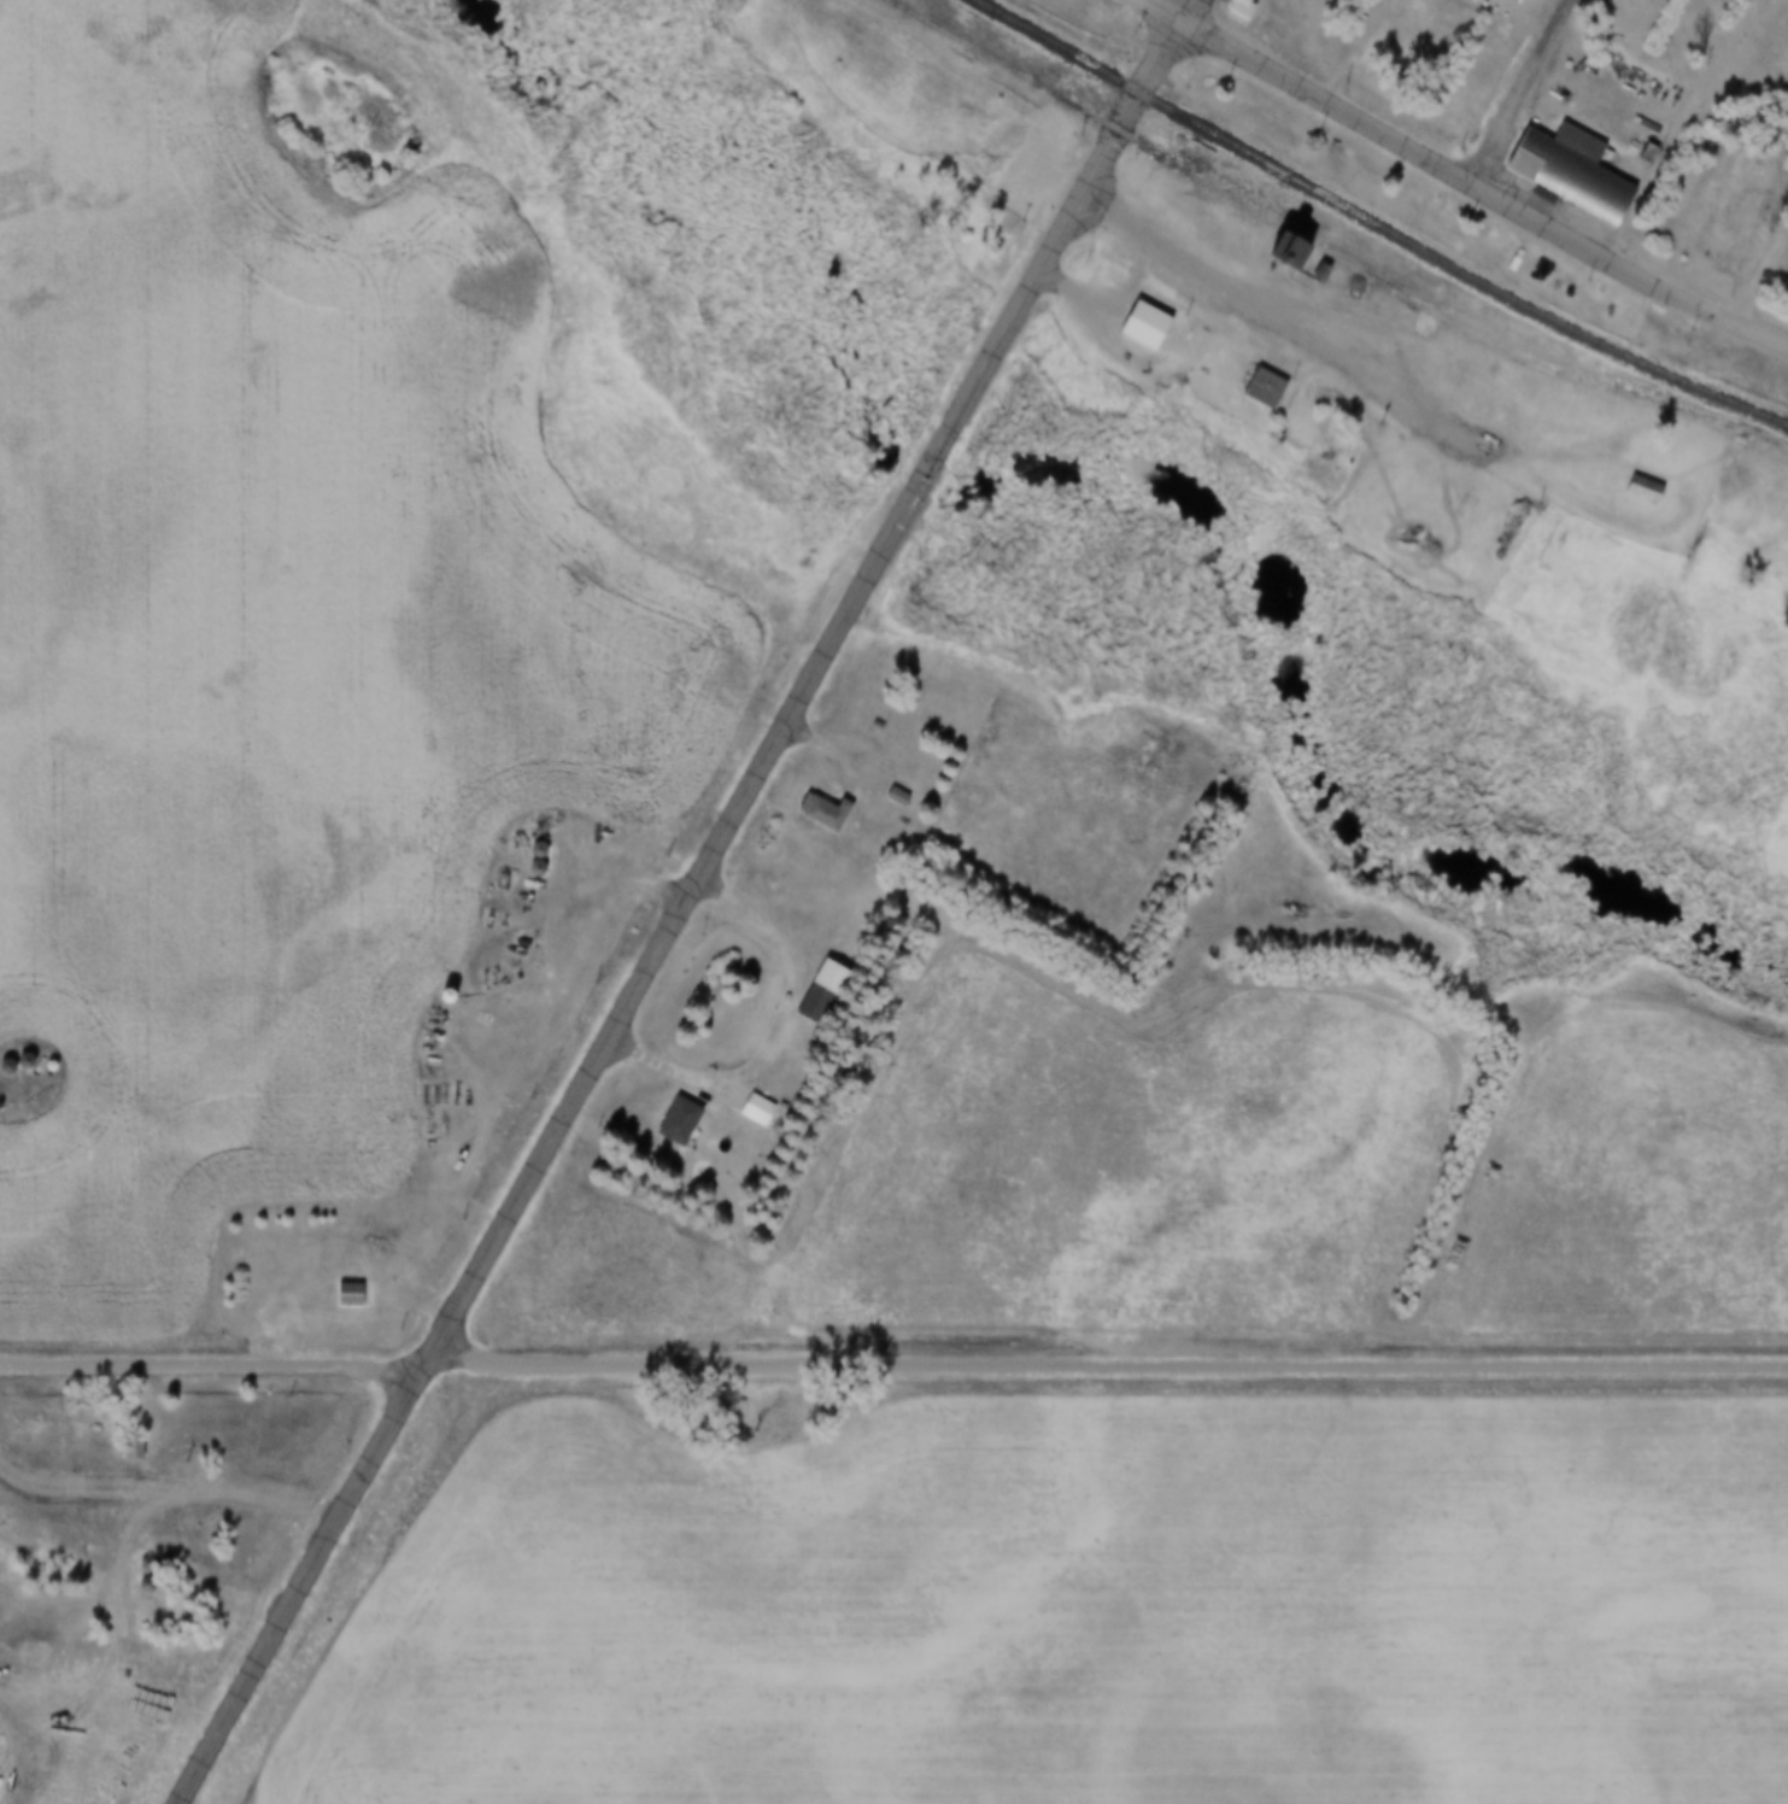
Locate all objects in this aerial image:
road: (1162, 10)
road: (1186, 10)
building: (1238, 11)
road: (1161, 55)
road: (1519, 90)
building: (1654, 152)
building: (1581, 170)
road: (1455, 172)
railway: (1377, 224)
building: (1751, 224)
building: (1297, 252)
building: (1320, 274)
building: (1155, 324)
road: (1303, 328)
road: (1760, 330)
building: (1558, 364)
building: (1273, 387)
building: (1652, 490)
building: (1458, 497)
building: (1448, 498)
road: (785, 730)
building: (905, 796)
building: (897, 797)
building: (833, 810)
building: (549, 848)
silo: (549, 848)
building: (545, 868)
silo: (545, 868)
road: (598, 881)
building: (833, 991)
building: (455, 997)
silo: (455, 997)
building: (1161, 997)
road: (790, 1035)
building: (14, 1060)
silo: (14, 1060)
building: (24, 1061)
building: (39, 1065)
silo: (39, 1065)
building: (1, 1066)
silo: (1, 1066)
building: (766, 1109)
building: (688, 1121)
road: (17, 1129)
building: (274, 1235)
building: (381, 1236)
building: (258, 1252)
building: (358, 1294)
road: (213, 1363)
road: (1112, 1364)
building: (119, 1445)
building: (135, 1445)
road: (52, 1511)
road: (119, 1563)
building: (136, 1563)
silo: (136, 1563)
building: (135, 1583)
silo: (135, 1583)
road: (304, 1586)

